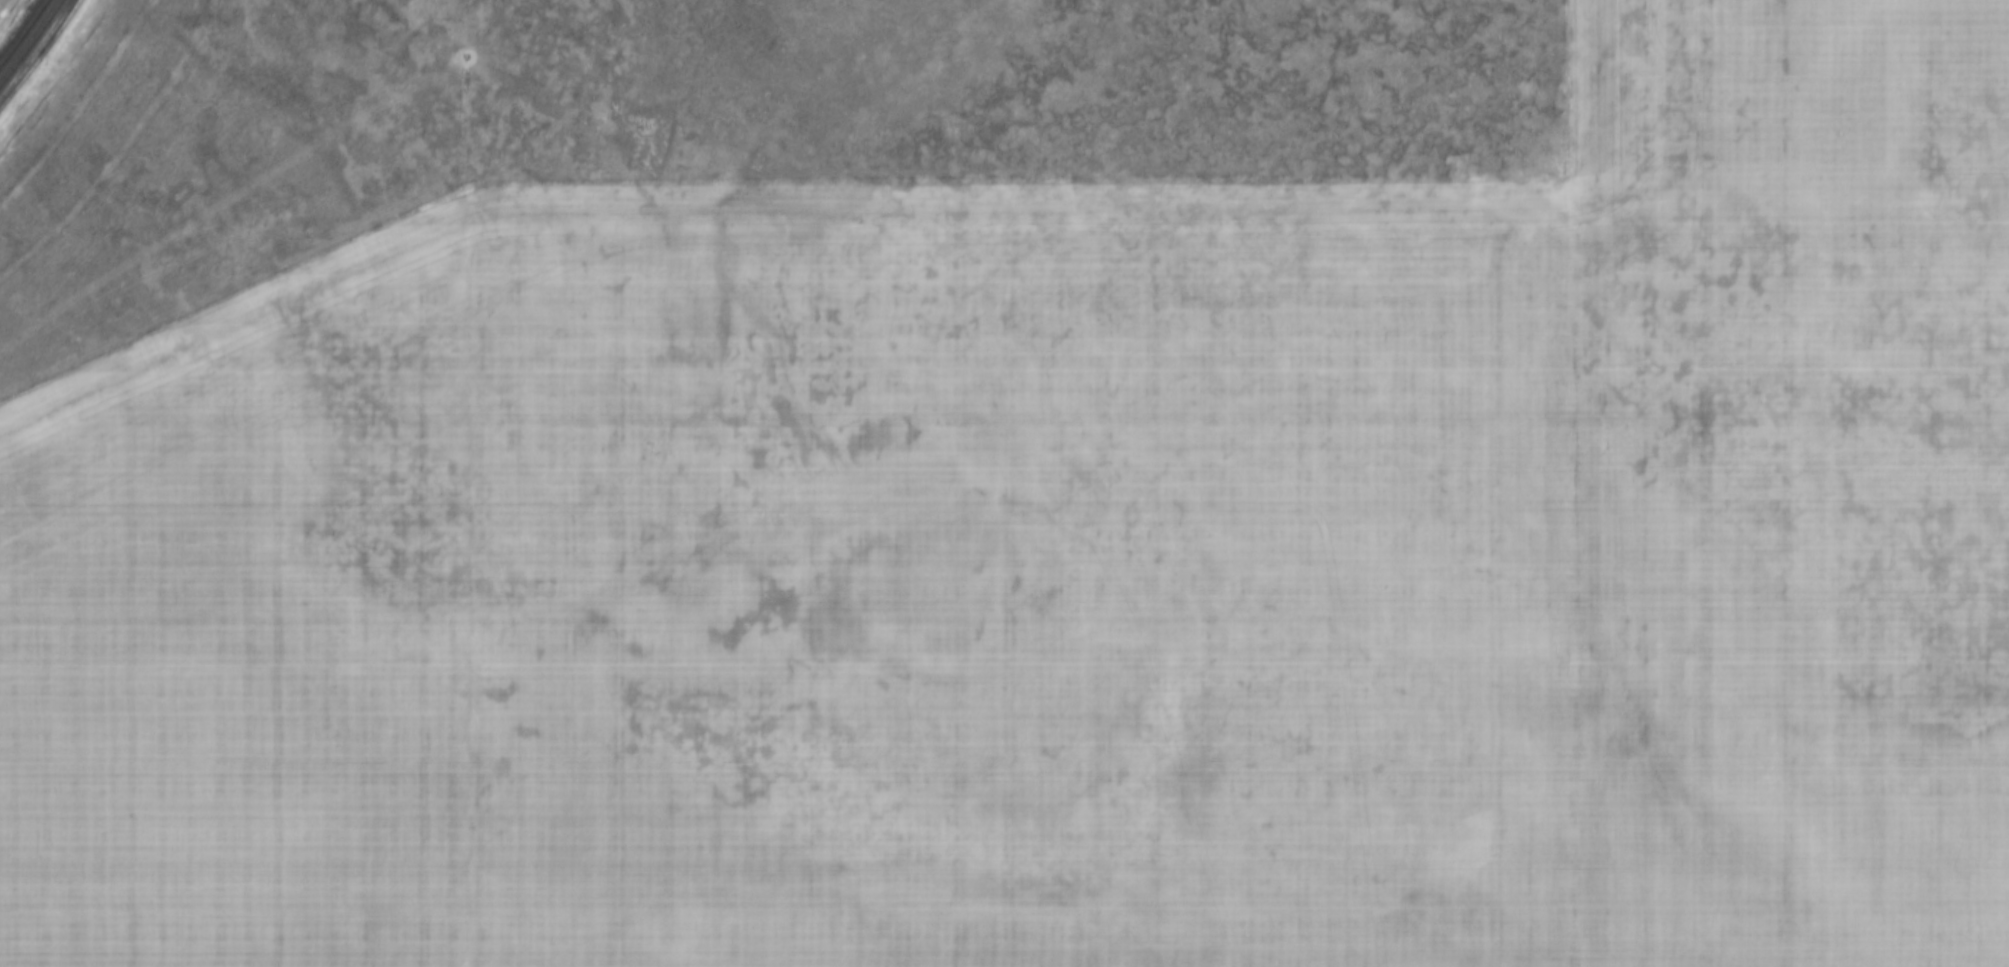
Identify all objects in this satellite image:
railway: (29, 41)
road: (38, 53)

